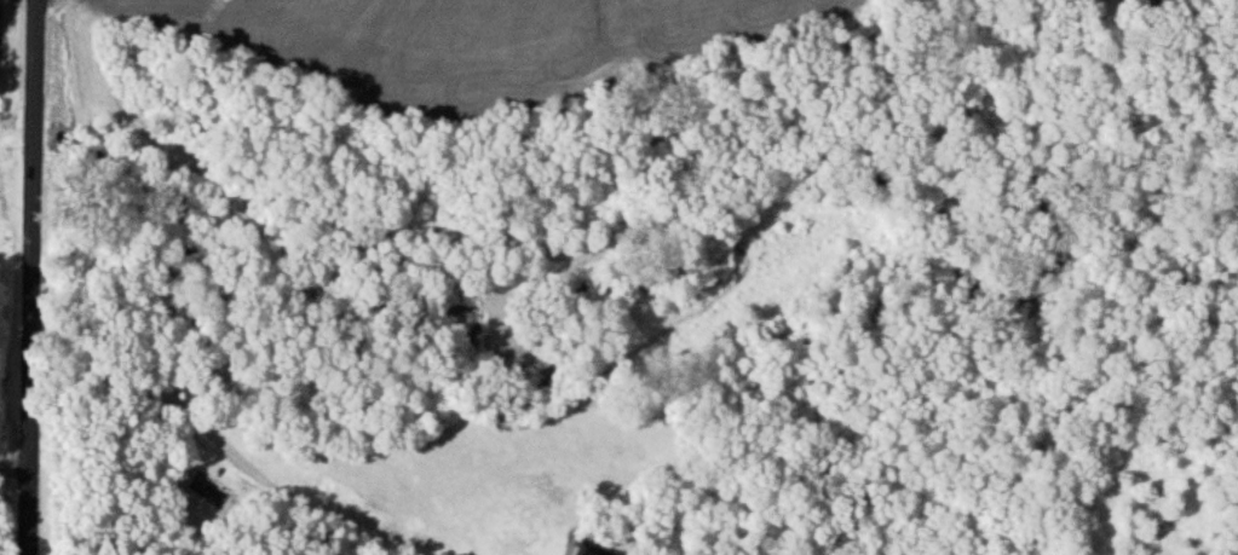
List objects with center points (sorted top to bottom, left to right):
road: (38, 277)
road: (197, 423)
road: (15, 459)
building: (594, 551)

